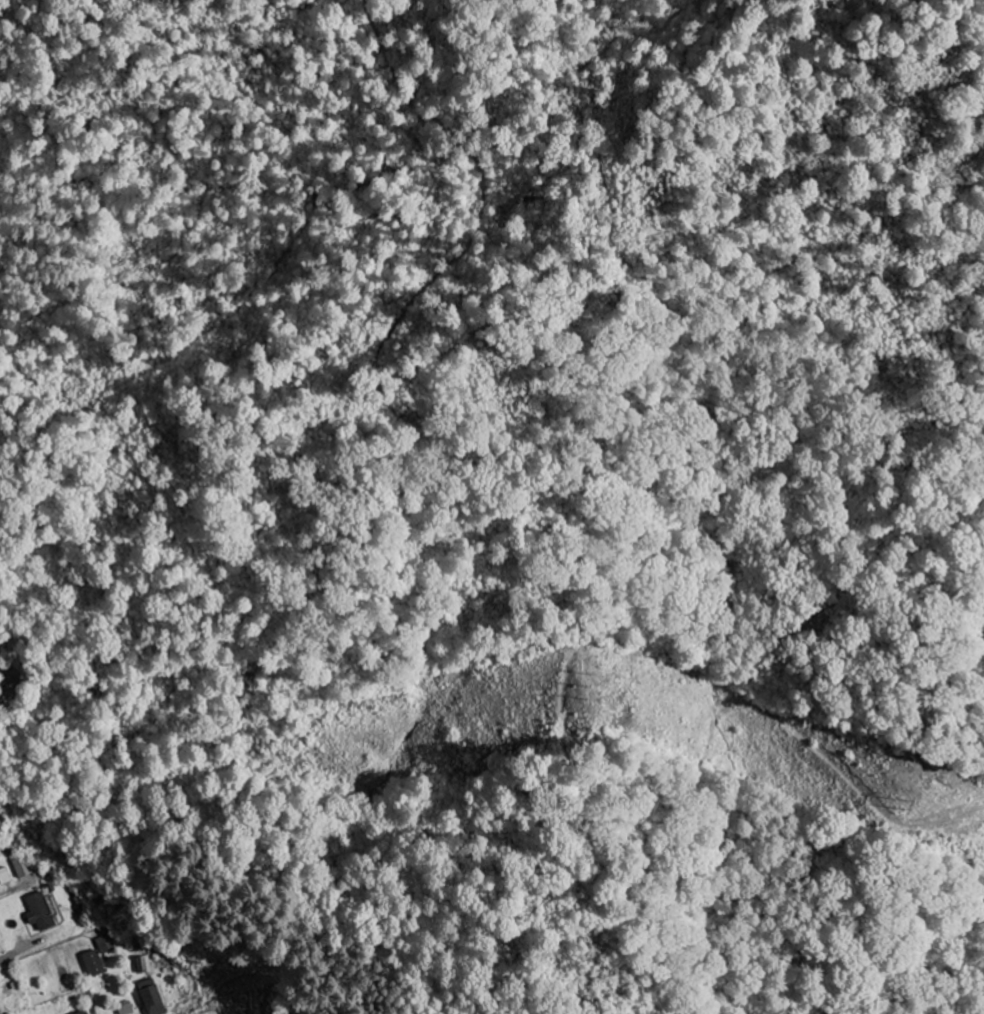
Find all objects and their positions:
power tower: (603, 686)
building: (21, 866)
building: (4, 876)
road: (1, 897)
building: (37, 911)
building: (105, 943)
road: (6, 956)
building: (91, 963)
building: (144, 964)
building: (149, 997)
building: (124, 1009)
building: (80, 1012)

